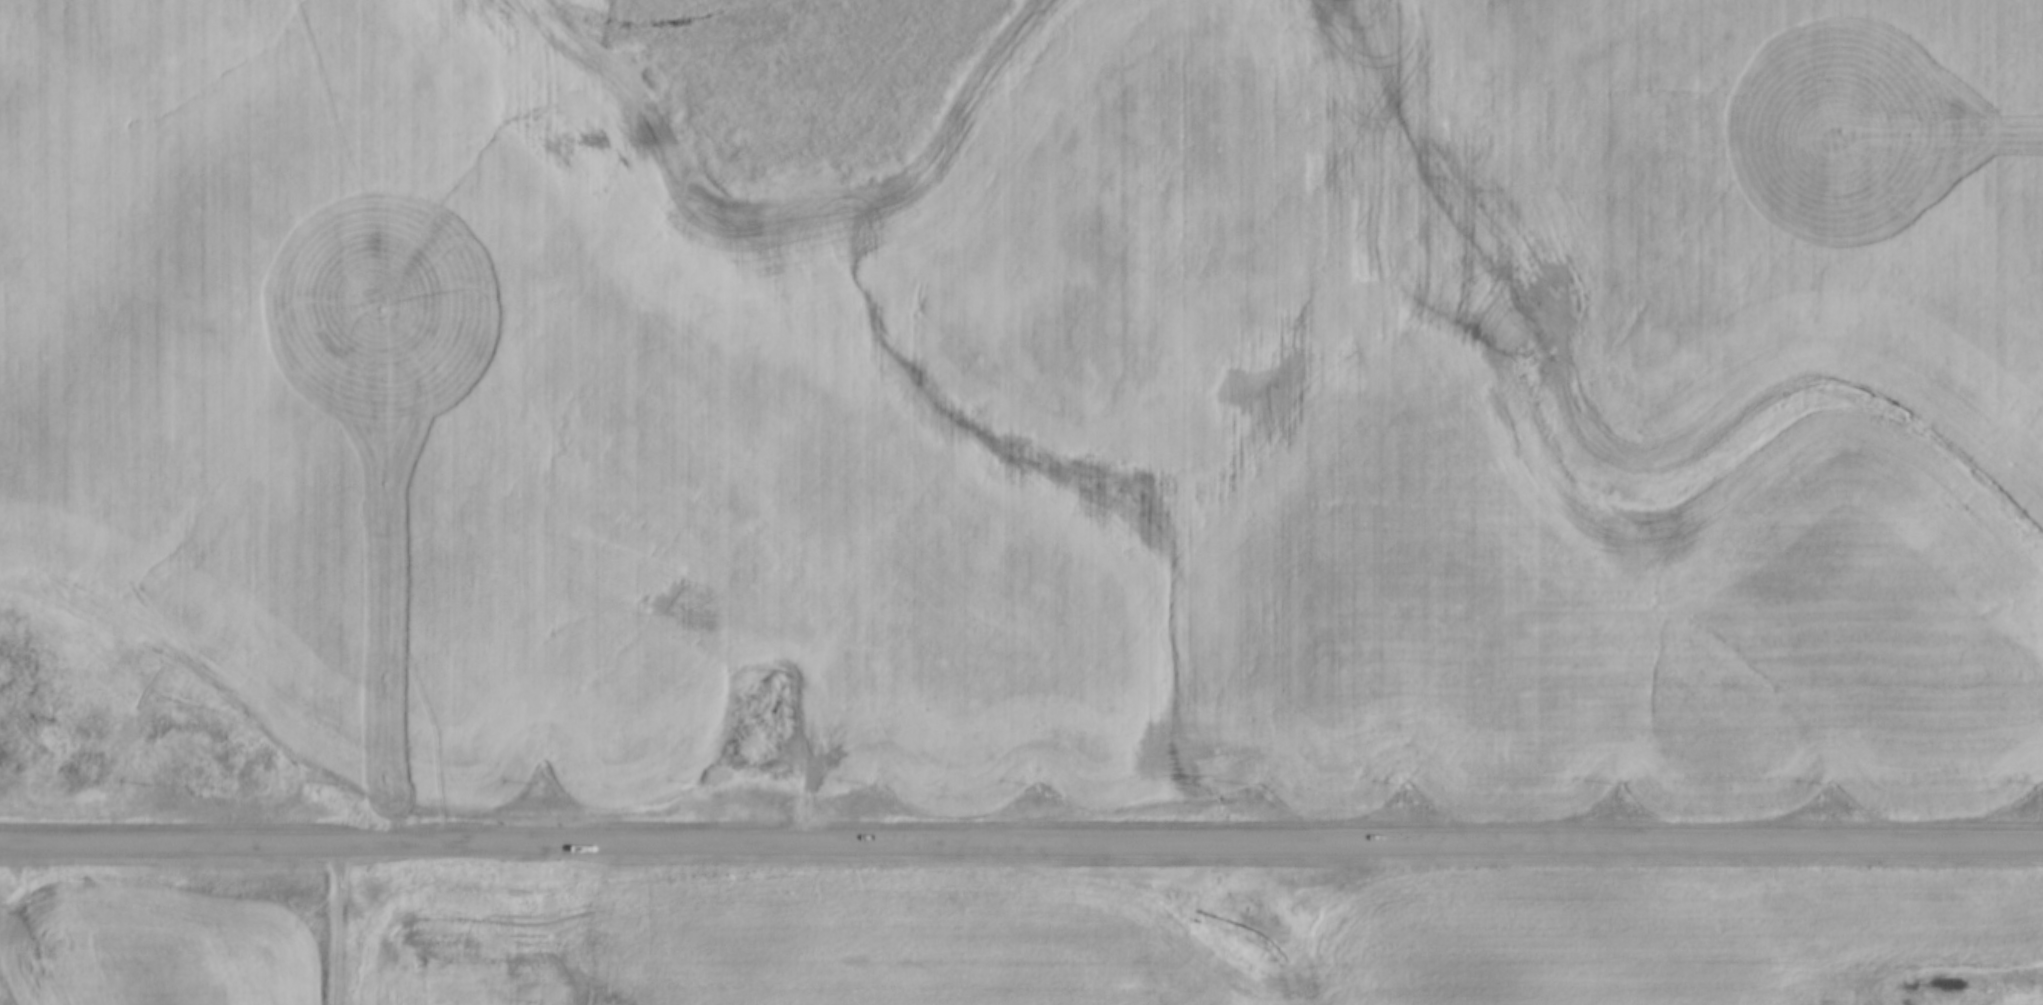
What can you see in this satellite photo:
wind turbine: (1839, 129)
wind turbine: (375, 305)
road: (1021, 843)
road: (337, 923)

